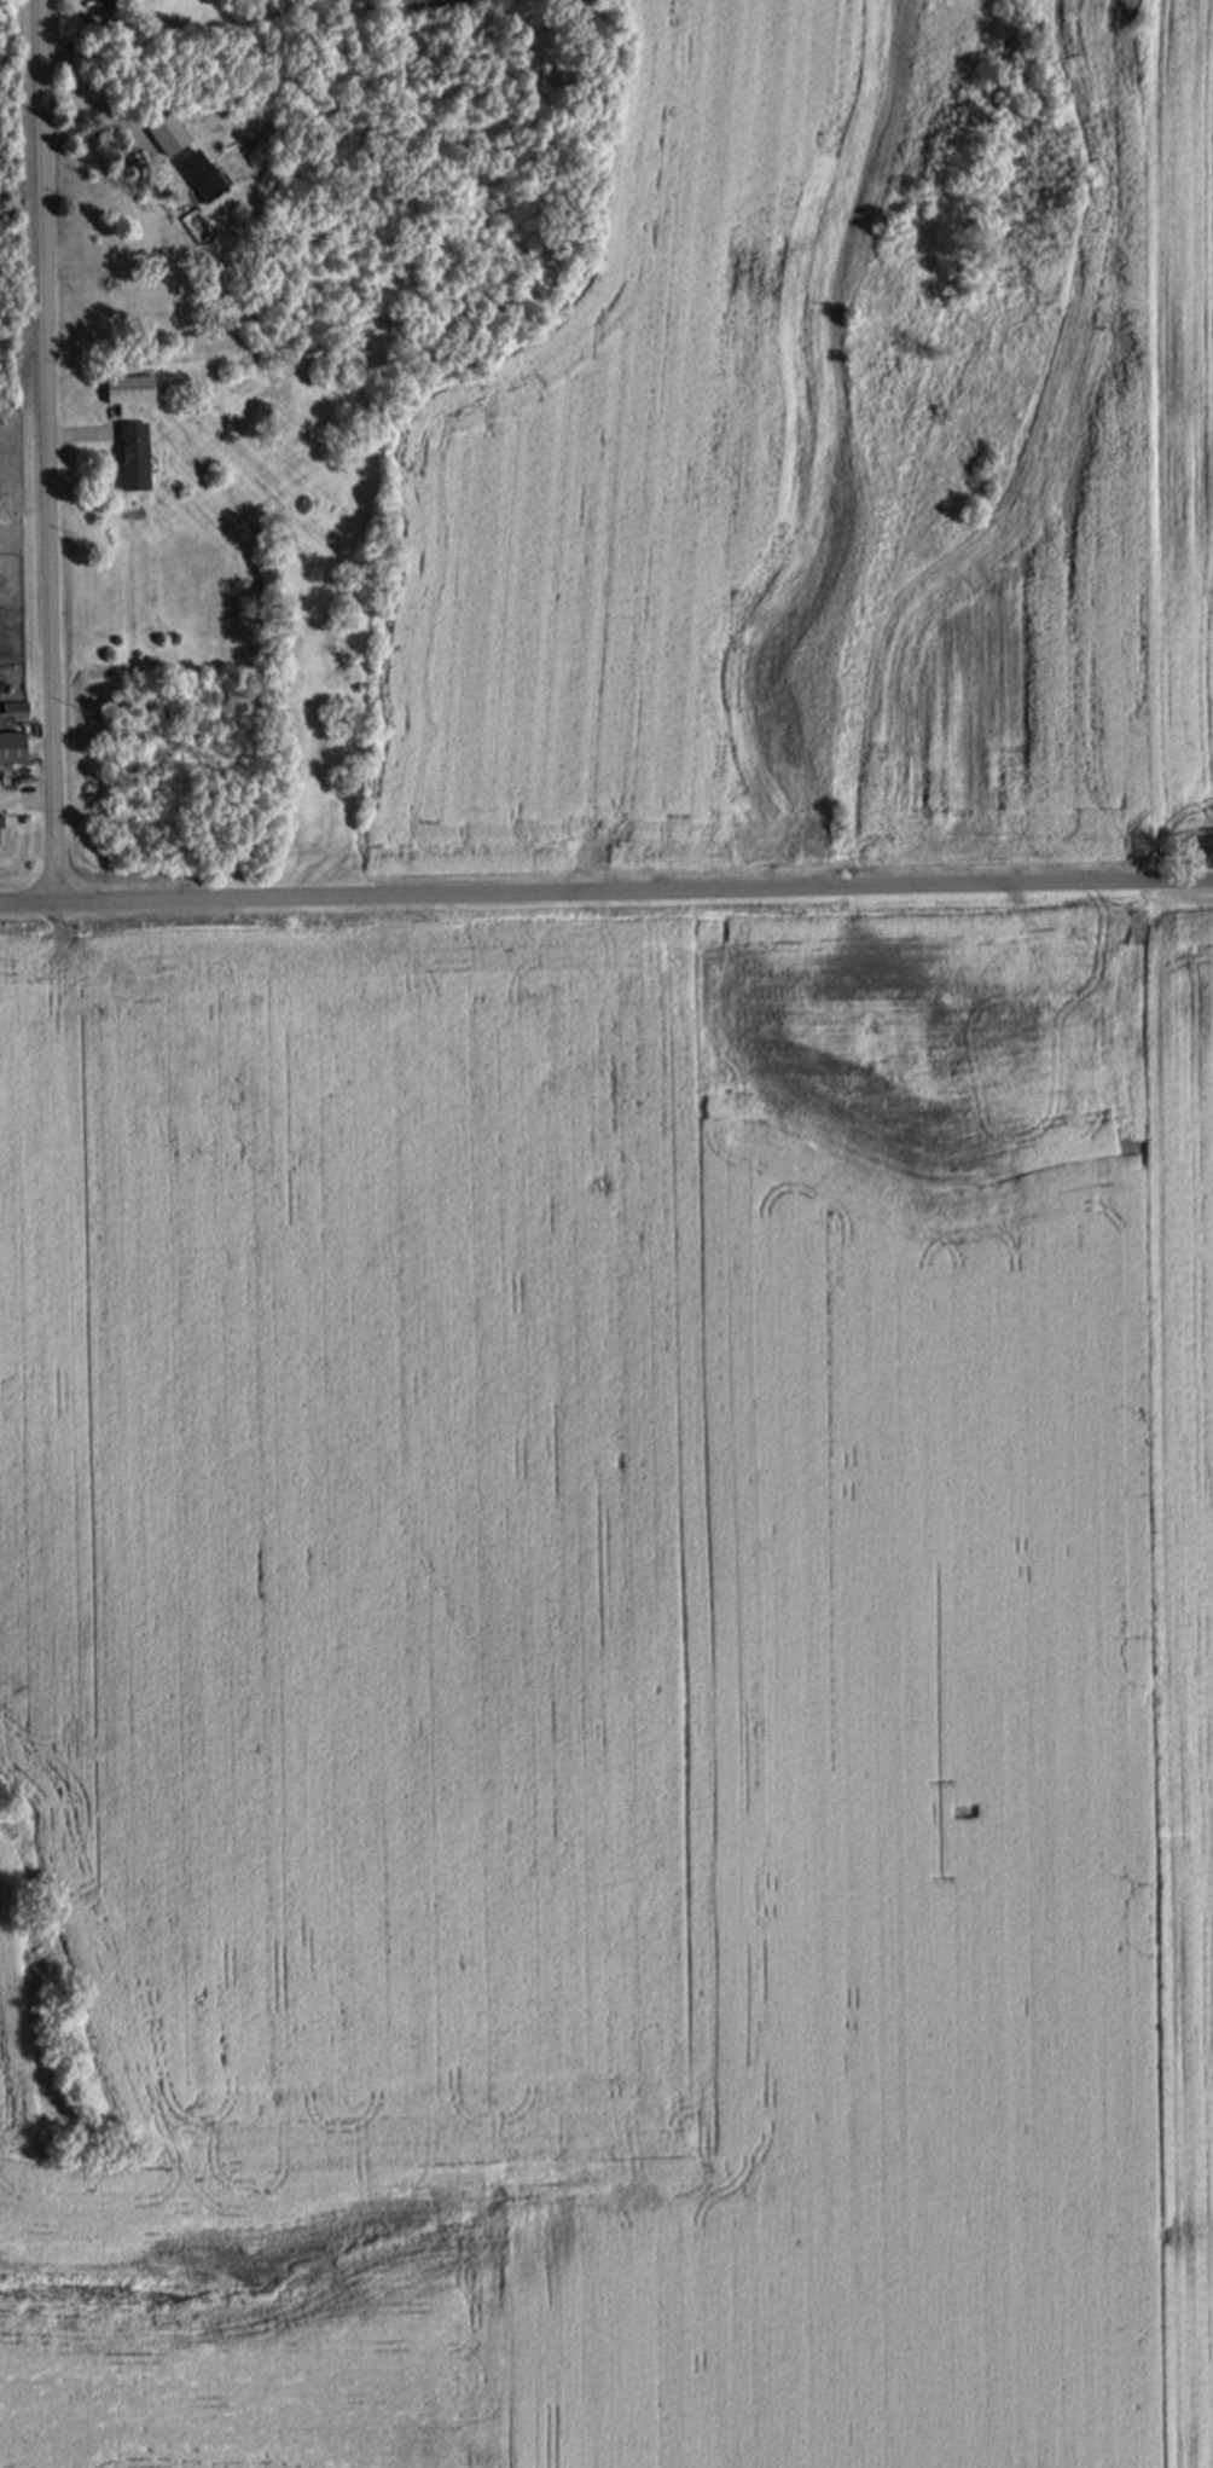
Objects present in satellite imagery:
building: (104, 5)
road: (92, 105)
building: (168, 133)
building: (199, 175)
building: (130, 388)
road: (80, 431)
road: (50, 450)
building: (132, 456)
building: (14, 705)
building: (12, 746)
building: (1, 819)
road: (605, 887)

